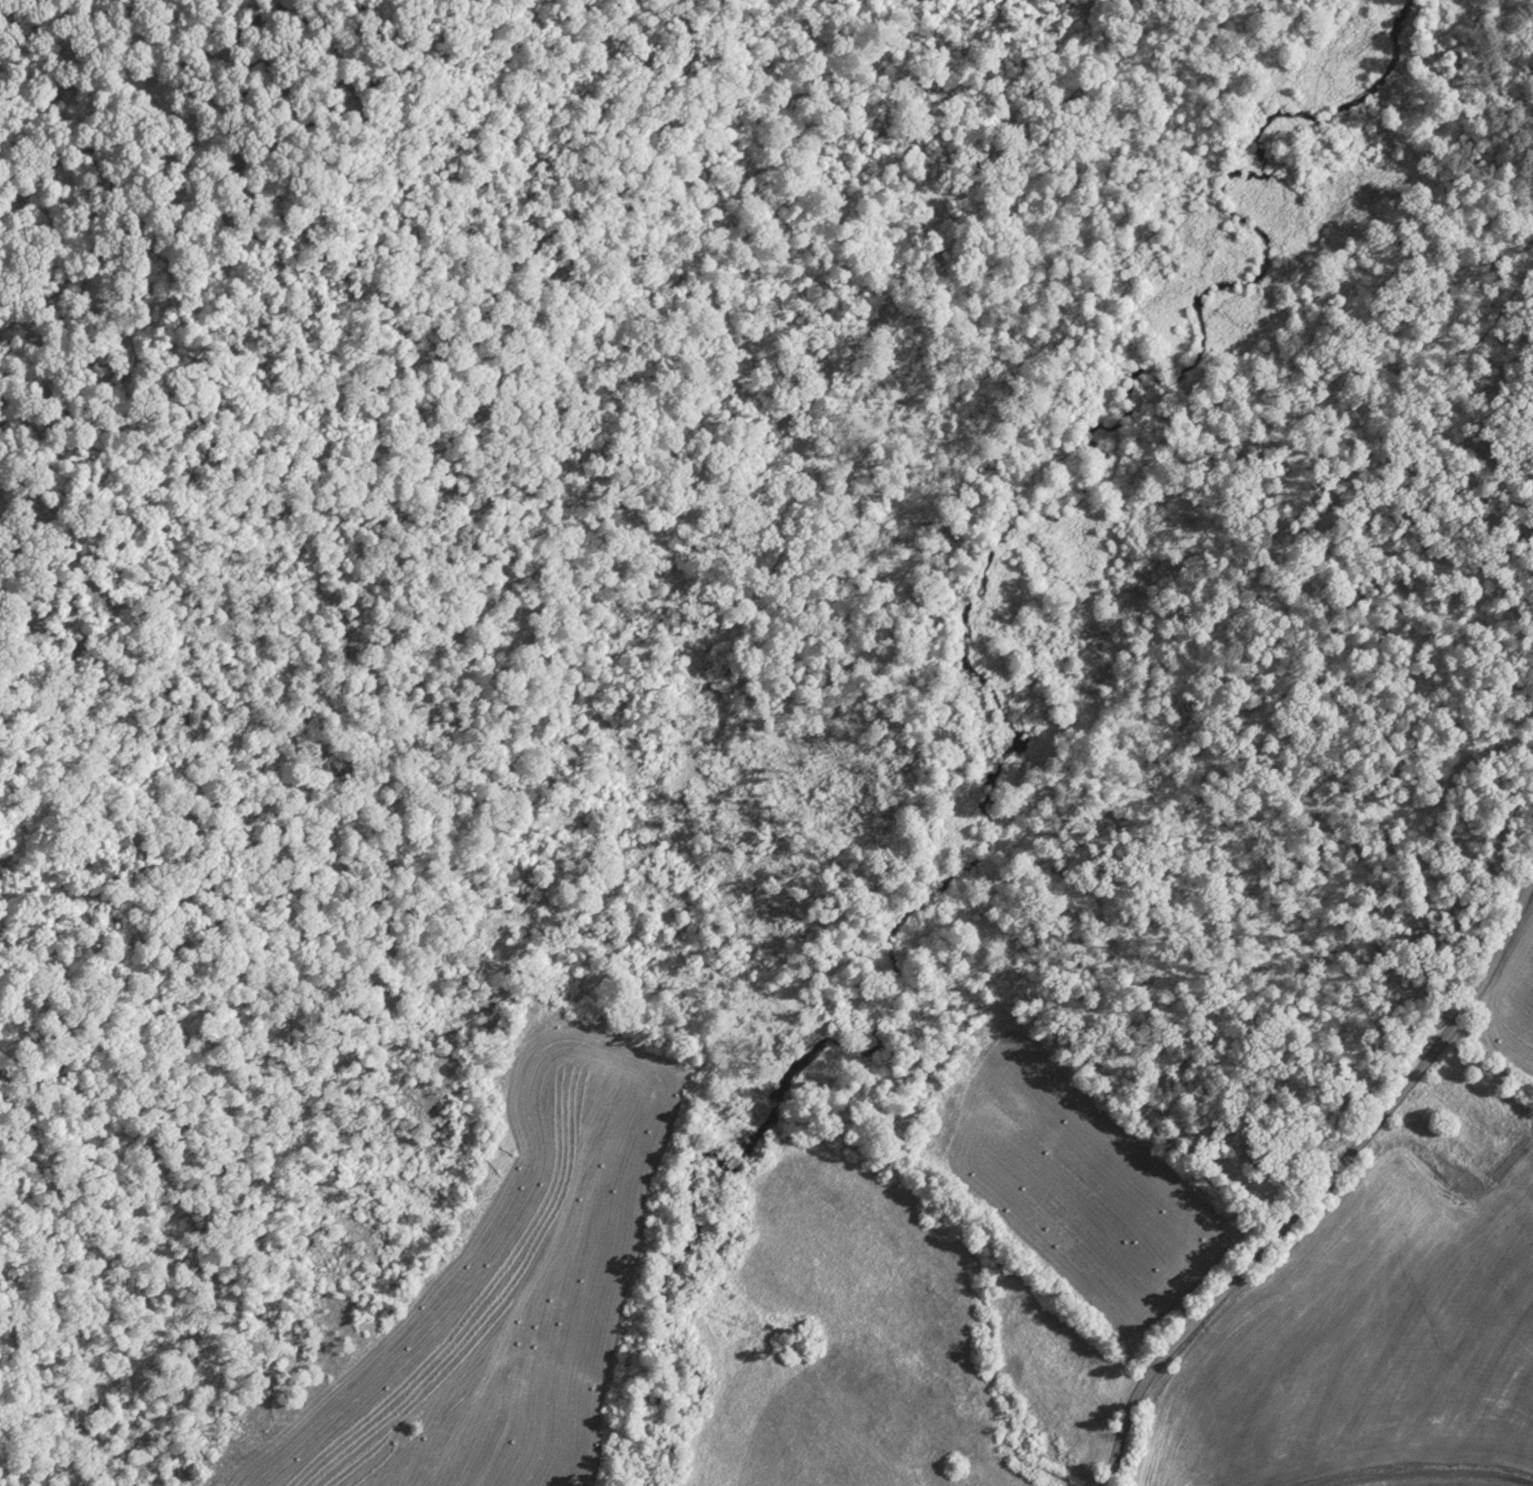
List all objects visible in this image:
road: (1320, 1185)

